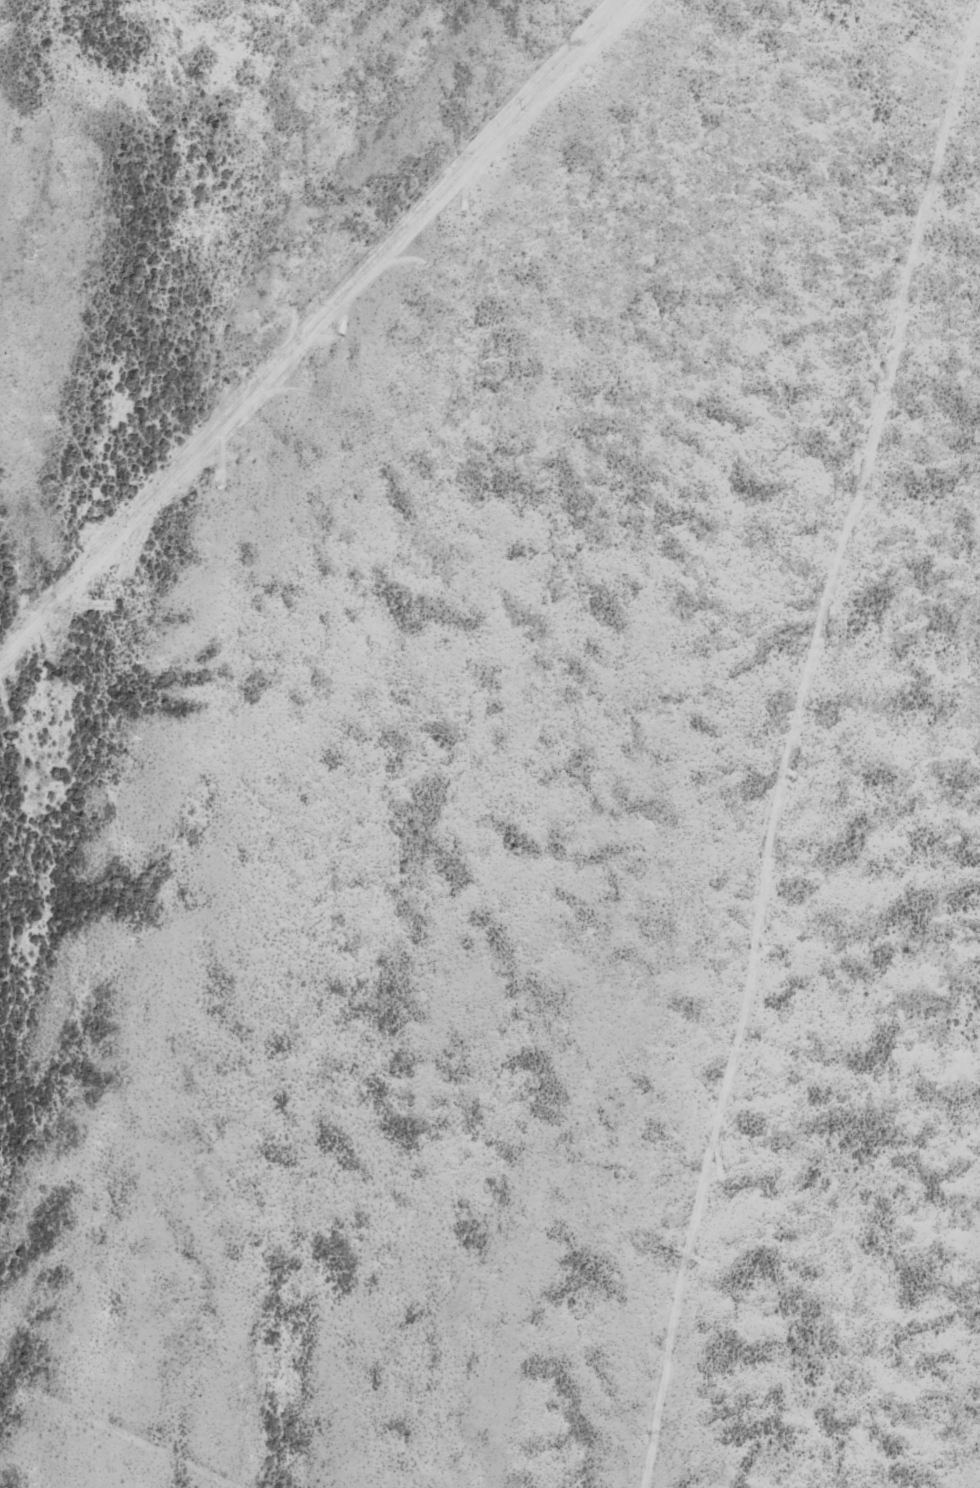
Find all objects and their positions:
road: (797, 789)

